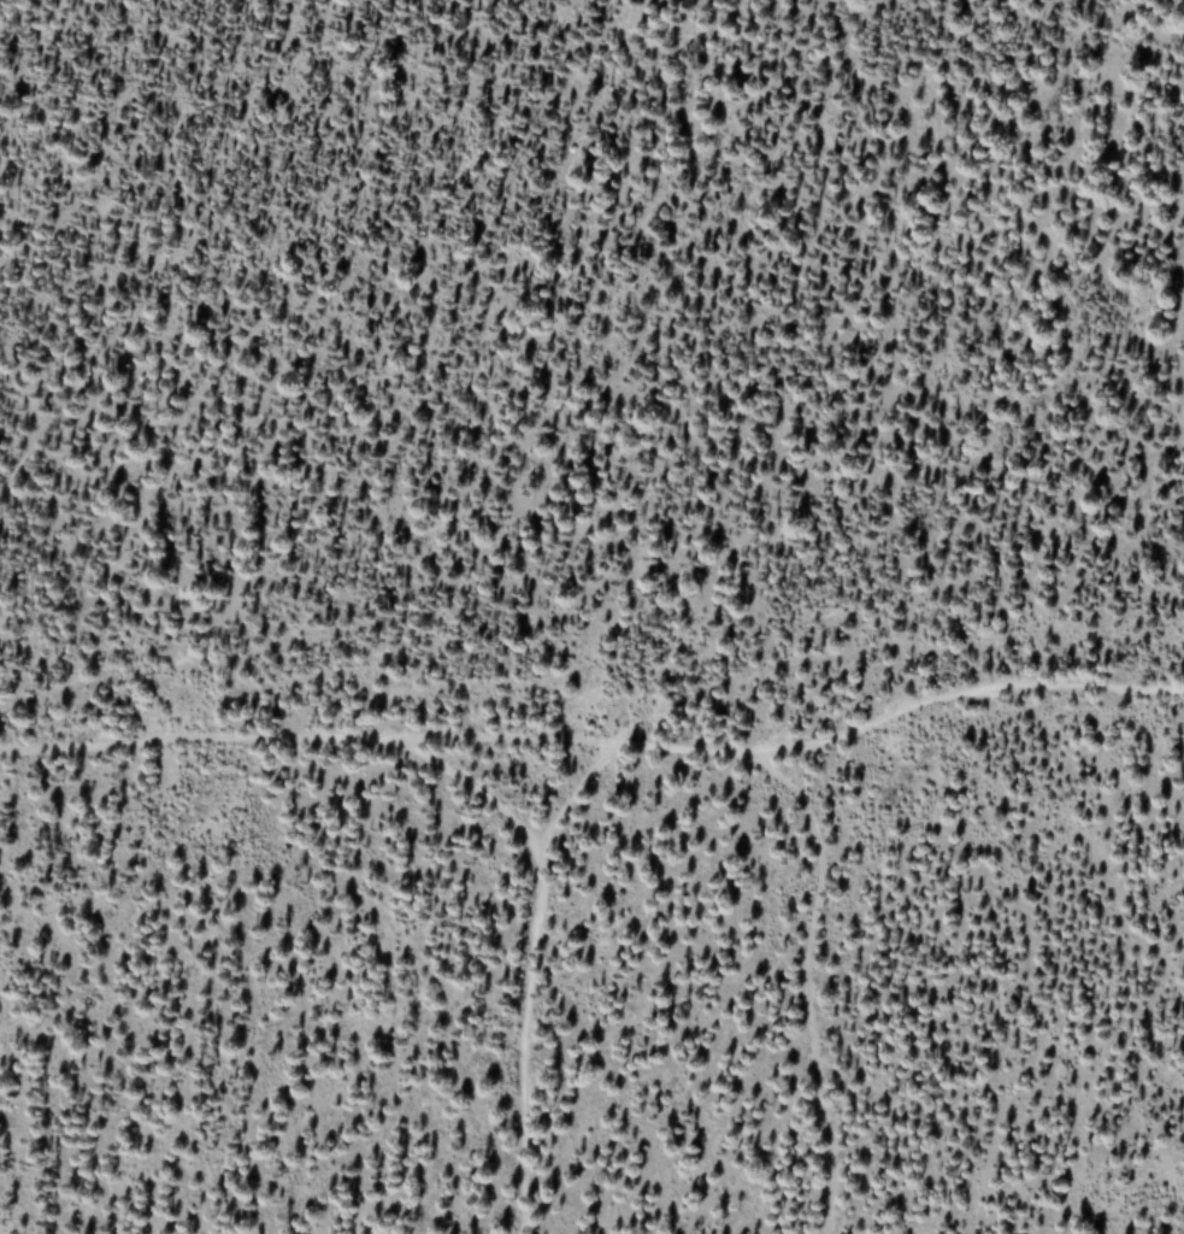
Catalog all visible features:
road: (596, 742)
road: (573, 793)
road: (532, 947)

